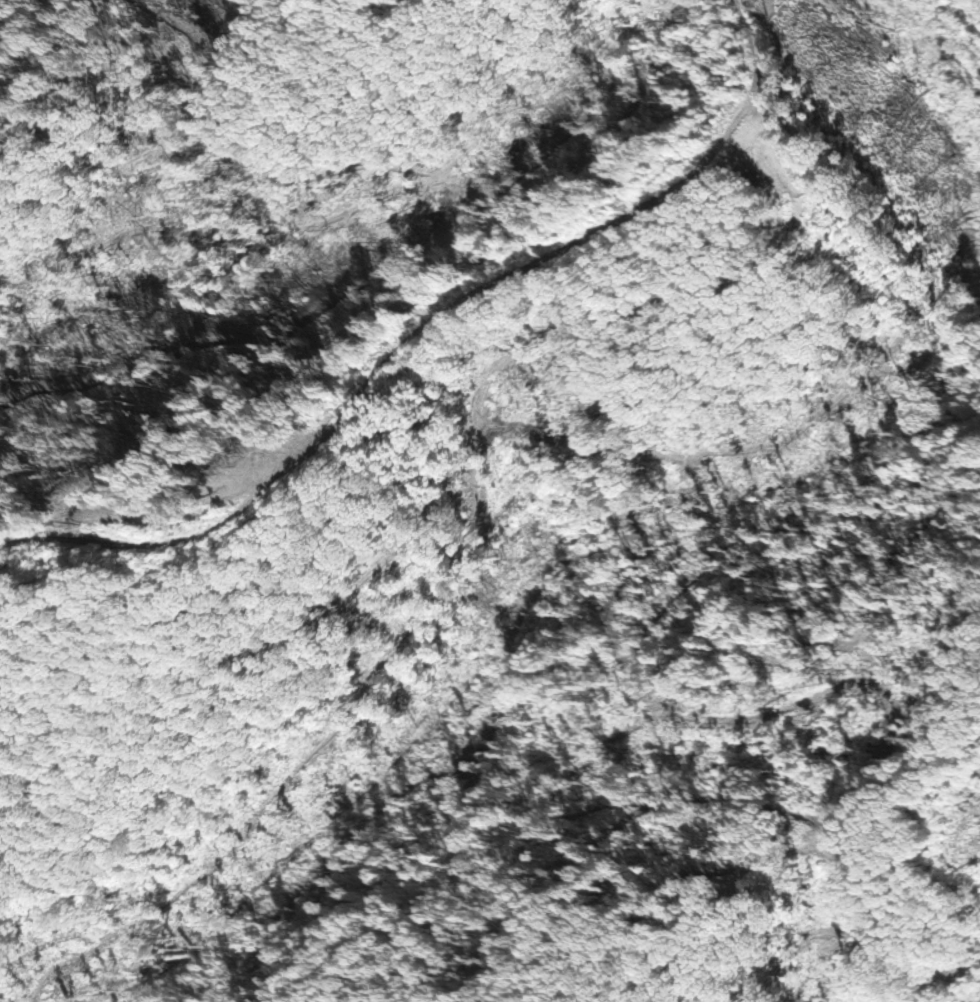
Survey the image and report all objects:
road: (424, 330)

